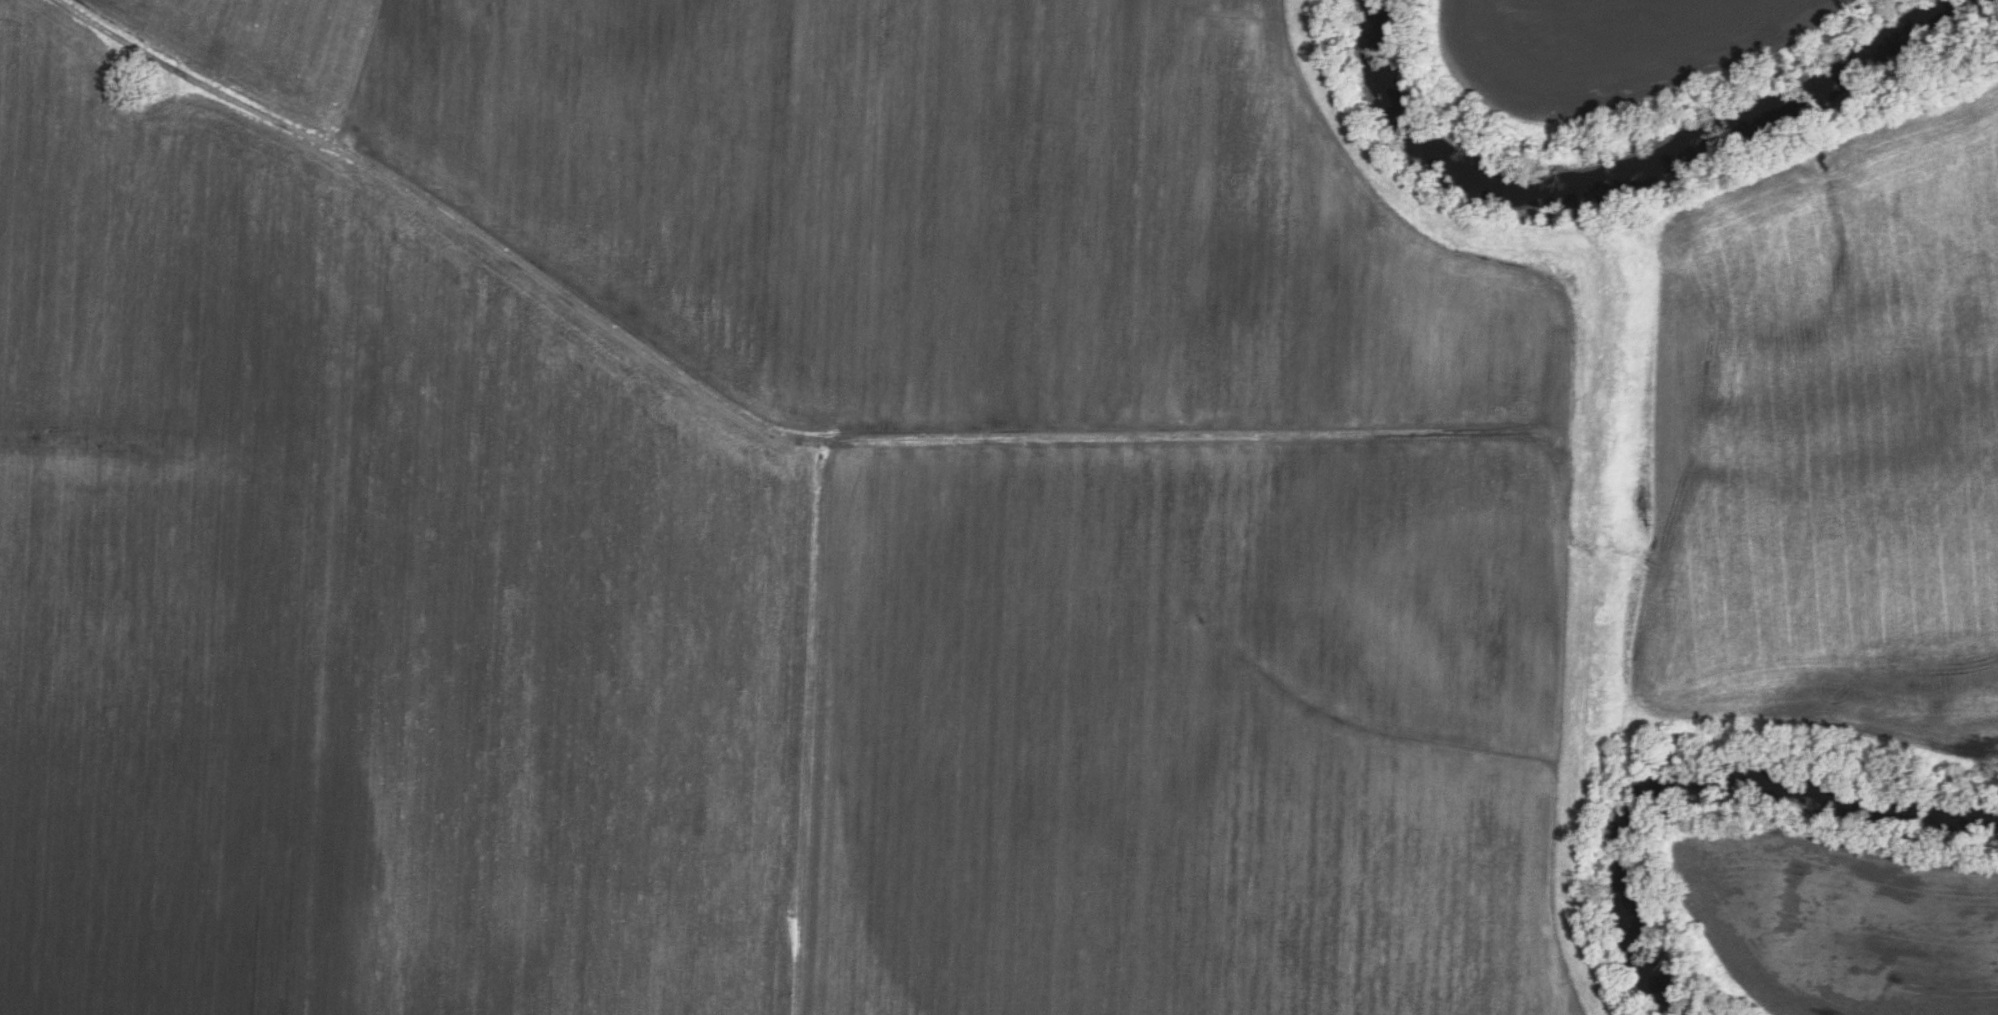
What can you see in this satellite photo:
river: (1695, 780)

